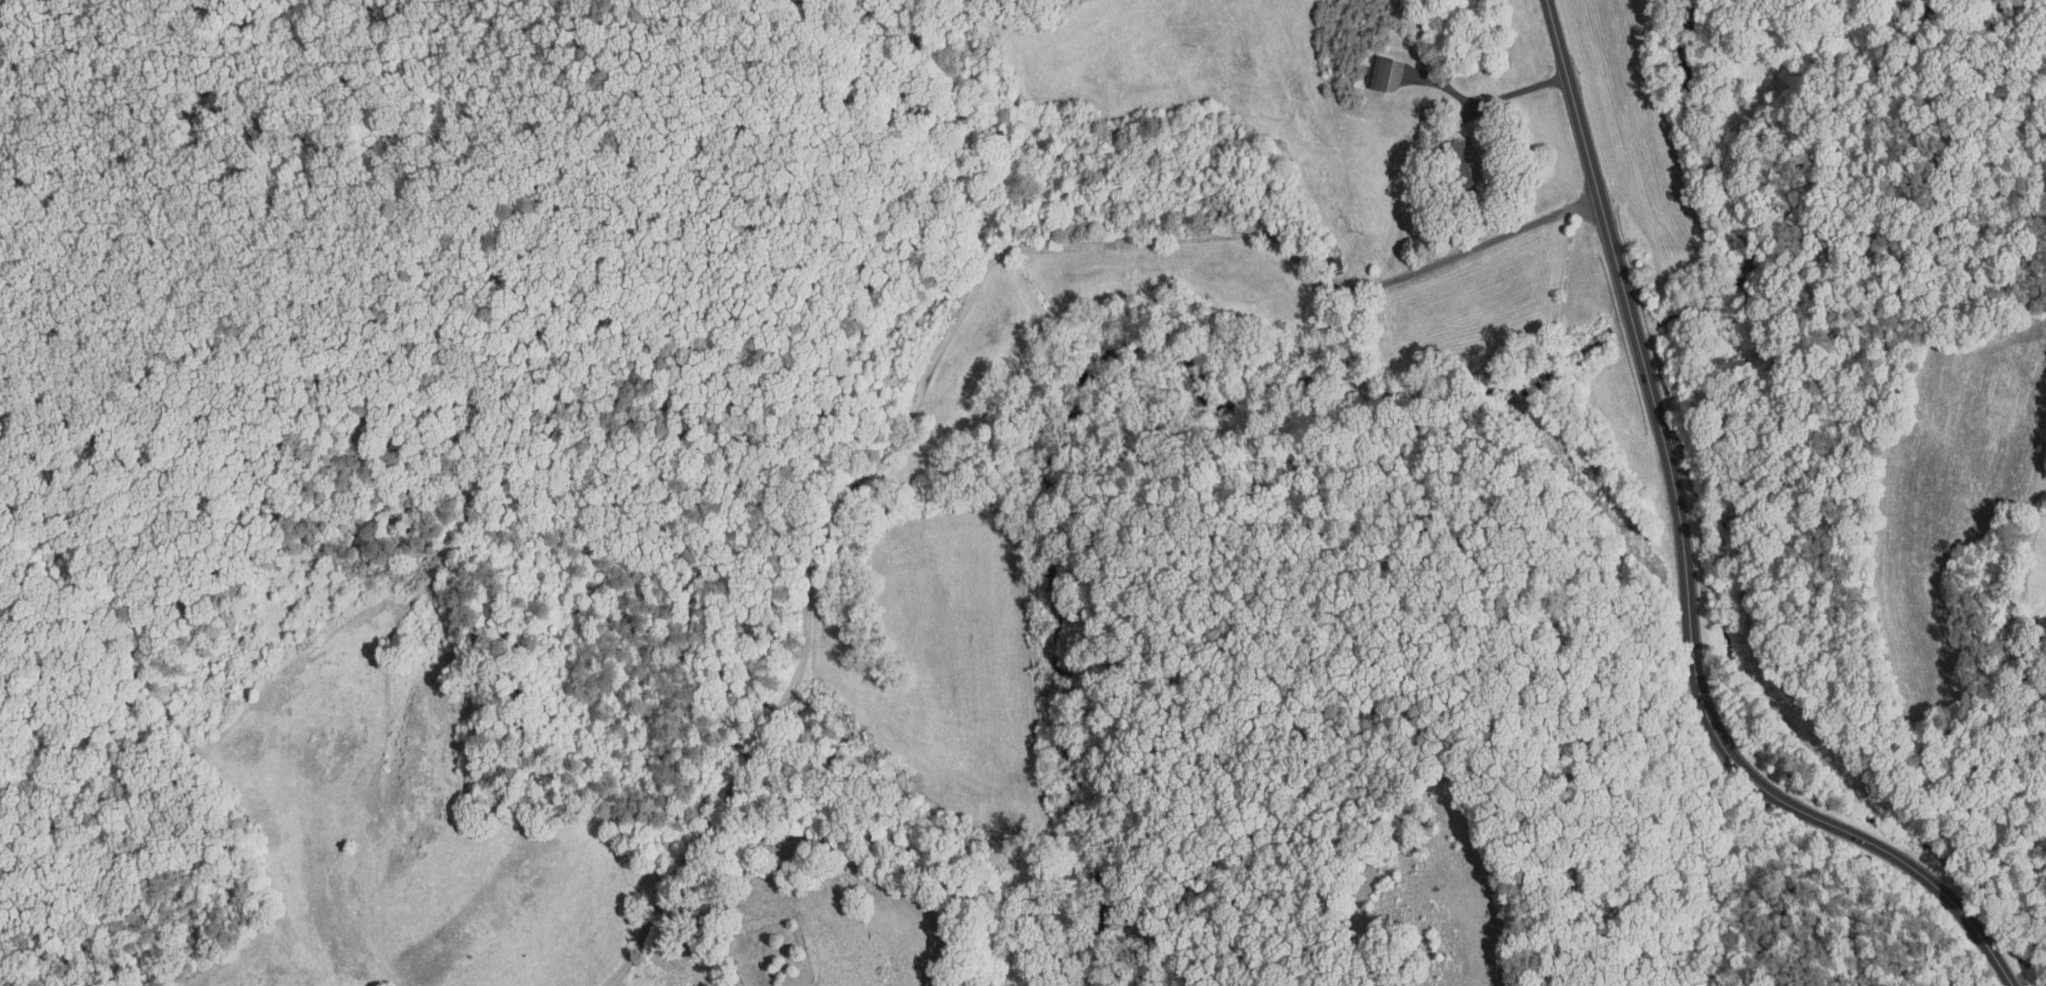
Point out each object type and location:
building: (1367, 66)
road: (1481, 102)
building: (1452, 156)
road: (2037, 314)
road: (945, 335)
road: (1963, 517)
road: (1684, 560)

